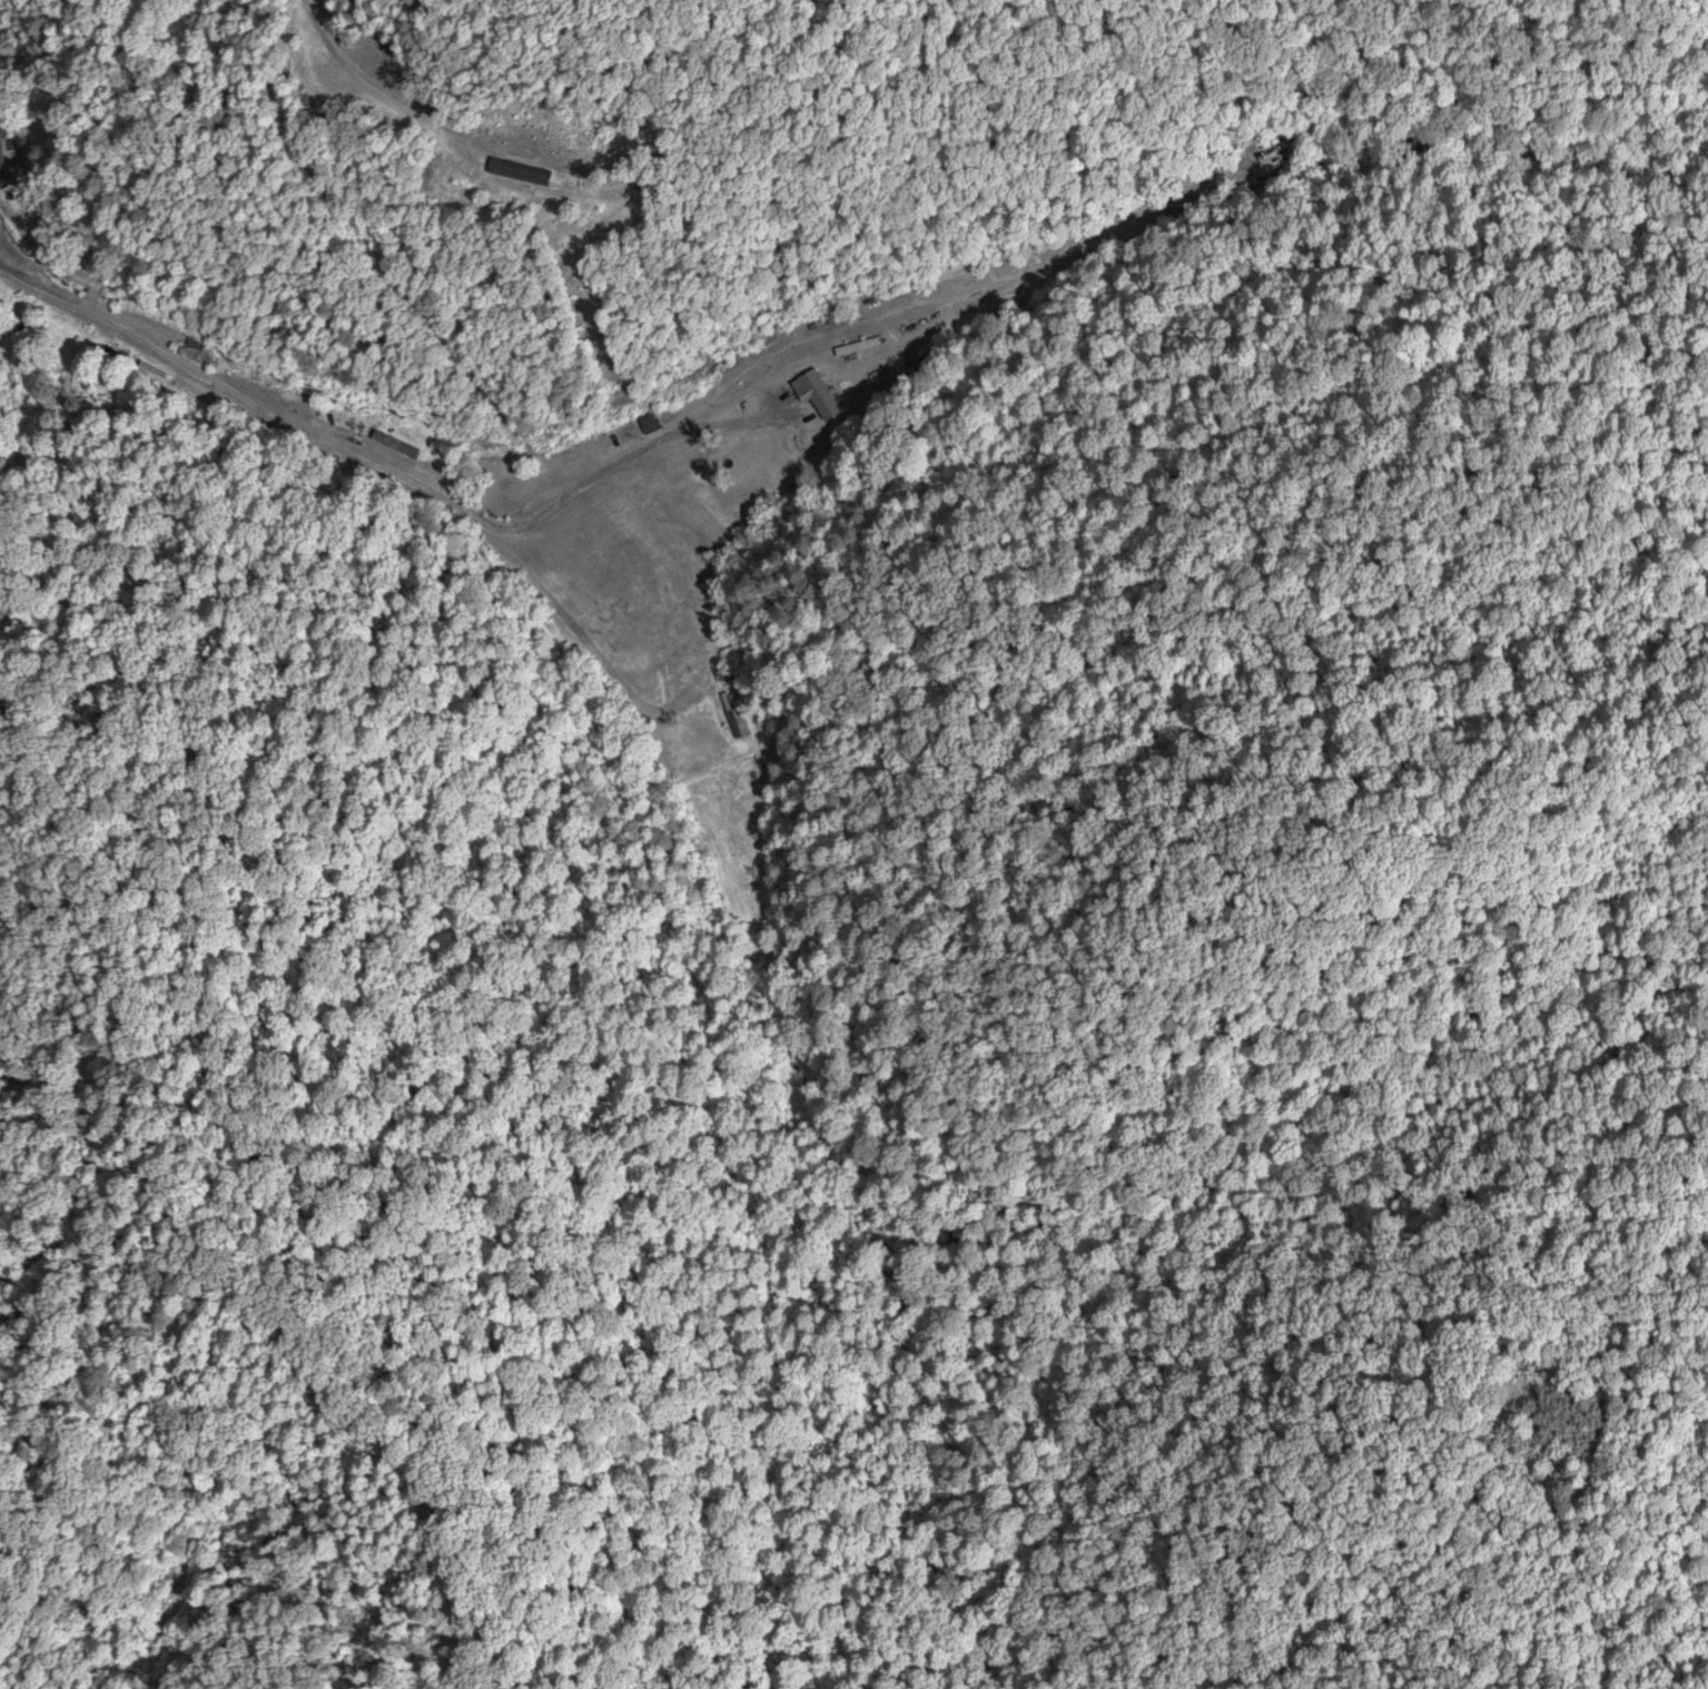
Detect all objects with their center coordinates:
building: (3, 155)
building: (533, 176)
road: (393, 297)
building: (789, 375)
building: (787, 470)
building: (740, 724)

